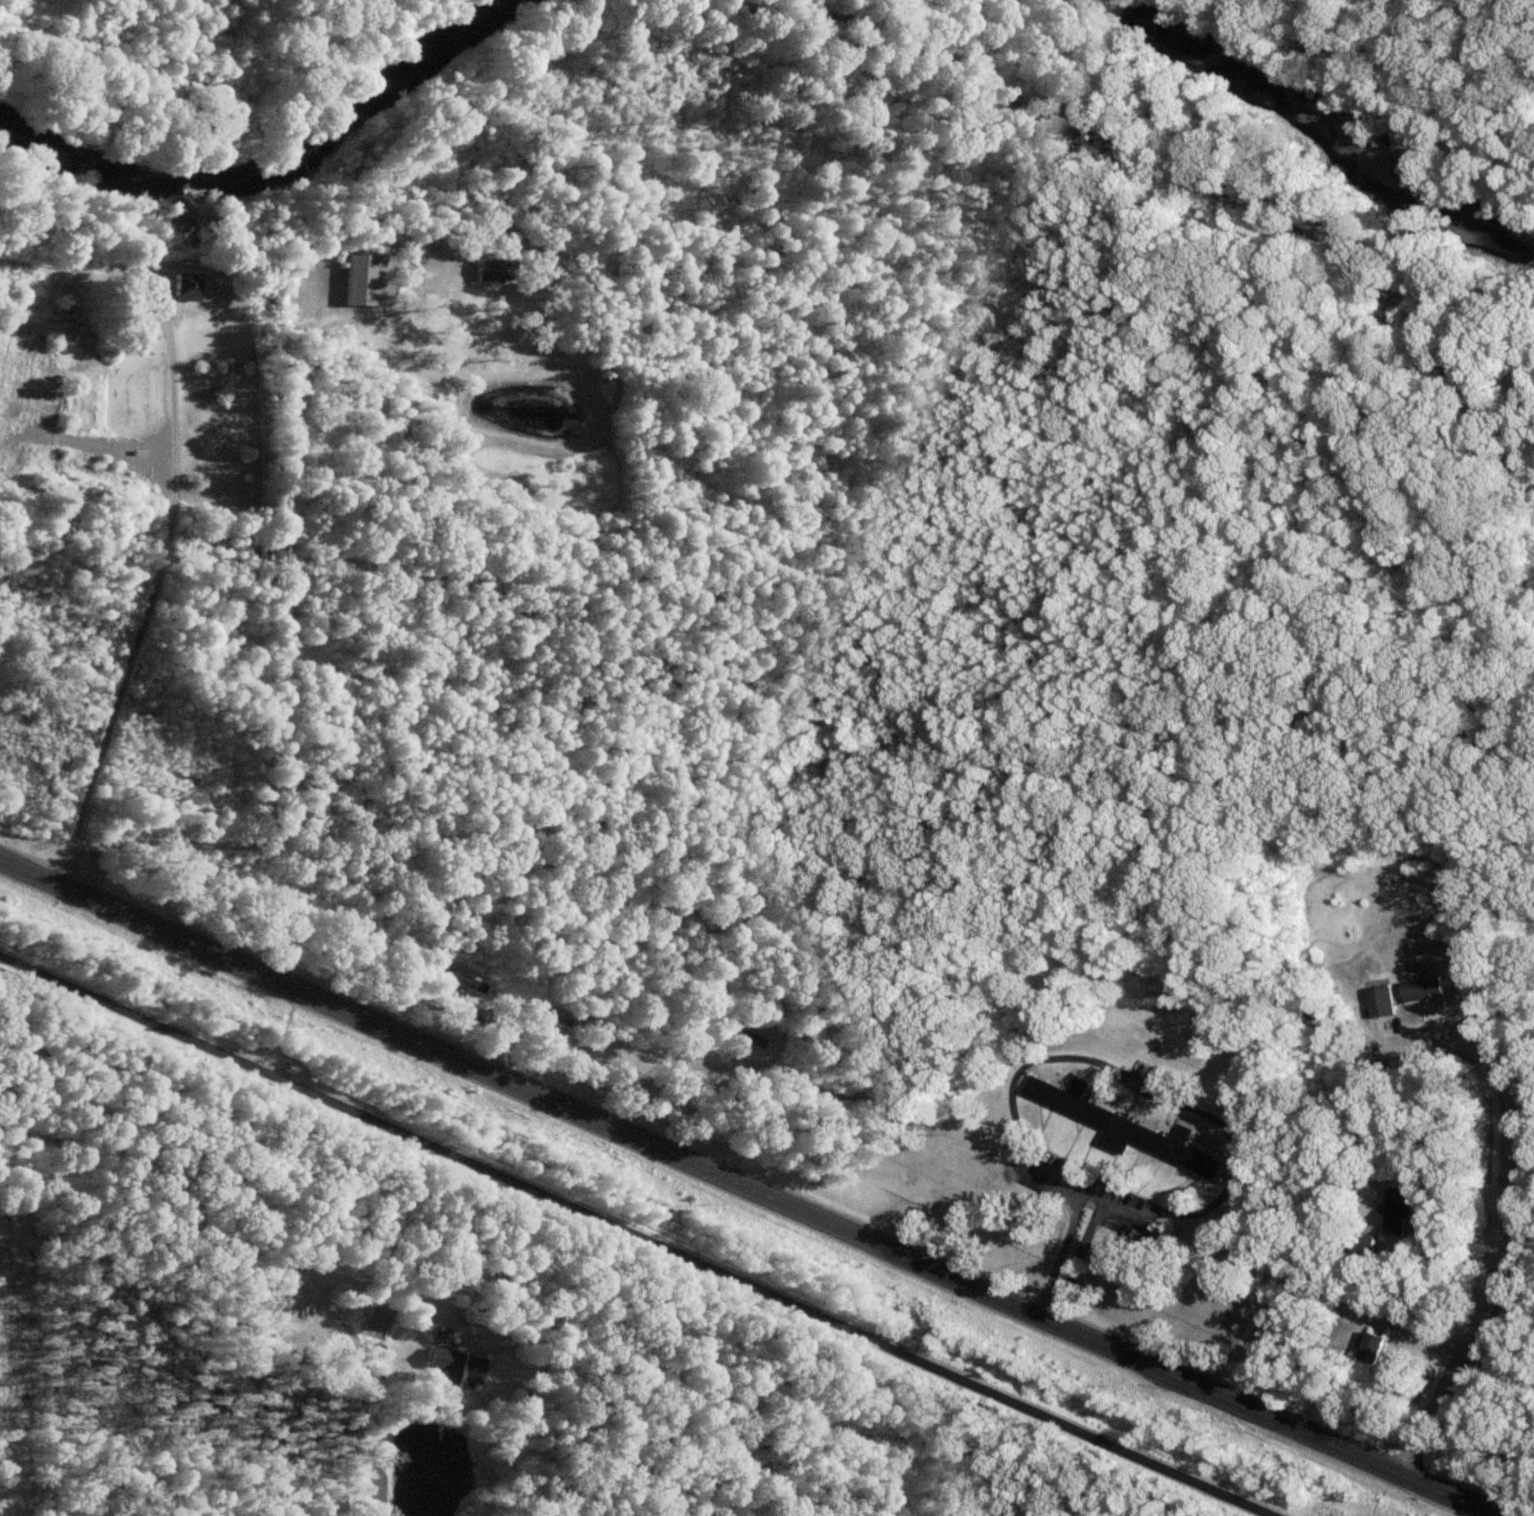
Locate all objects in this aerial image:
road: (1489, 11)
road: (1320, 34)
road: (1466, 69)
river: (1324, 120)
river: (291, 162)
building: (484, 271)
building: (357, 281)
building: (178, 288)
road: (153, 597)
road: (586, 918)
building: (455, 988)
building: (1423, 990)
building: (1382, 1003)
road: (1448, 1018)
building: (735, 1040)
road: (1519, 1062)
road: (1198, 1113)
building: (1122, 1128)
road: (748, 1189)
building: (1398, 1211)
road: (636, 1235)
road: (1497, 1285)
road: (1509, 1296)
building: (1373, 1348)
building: (452, 1368)

